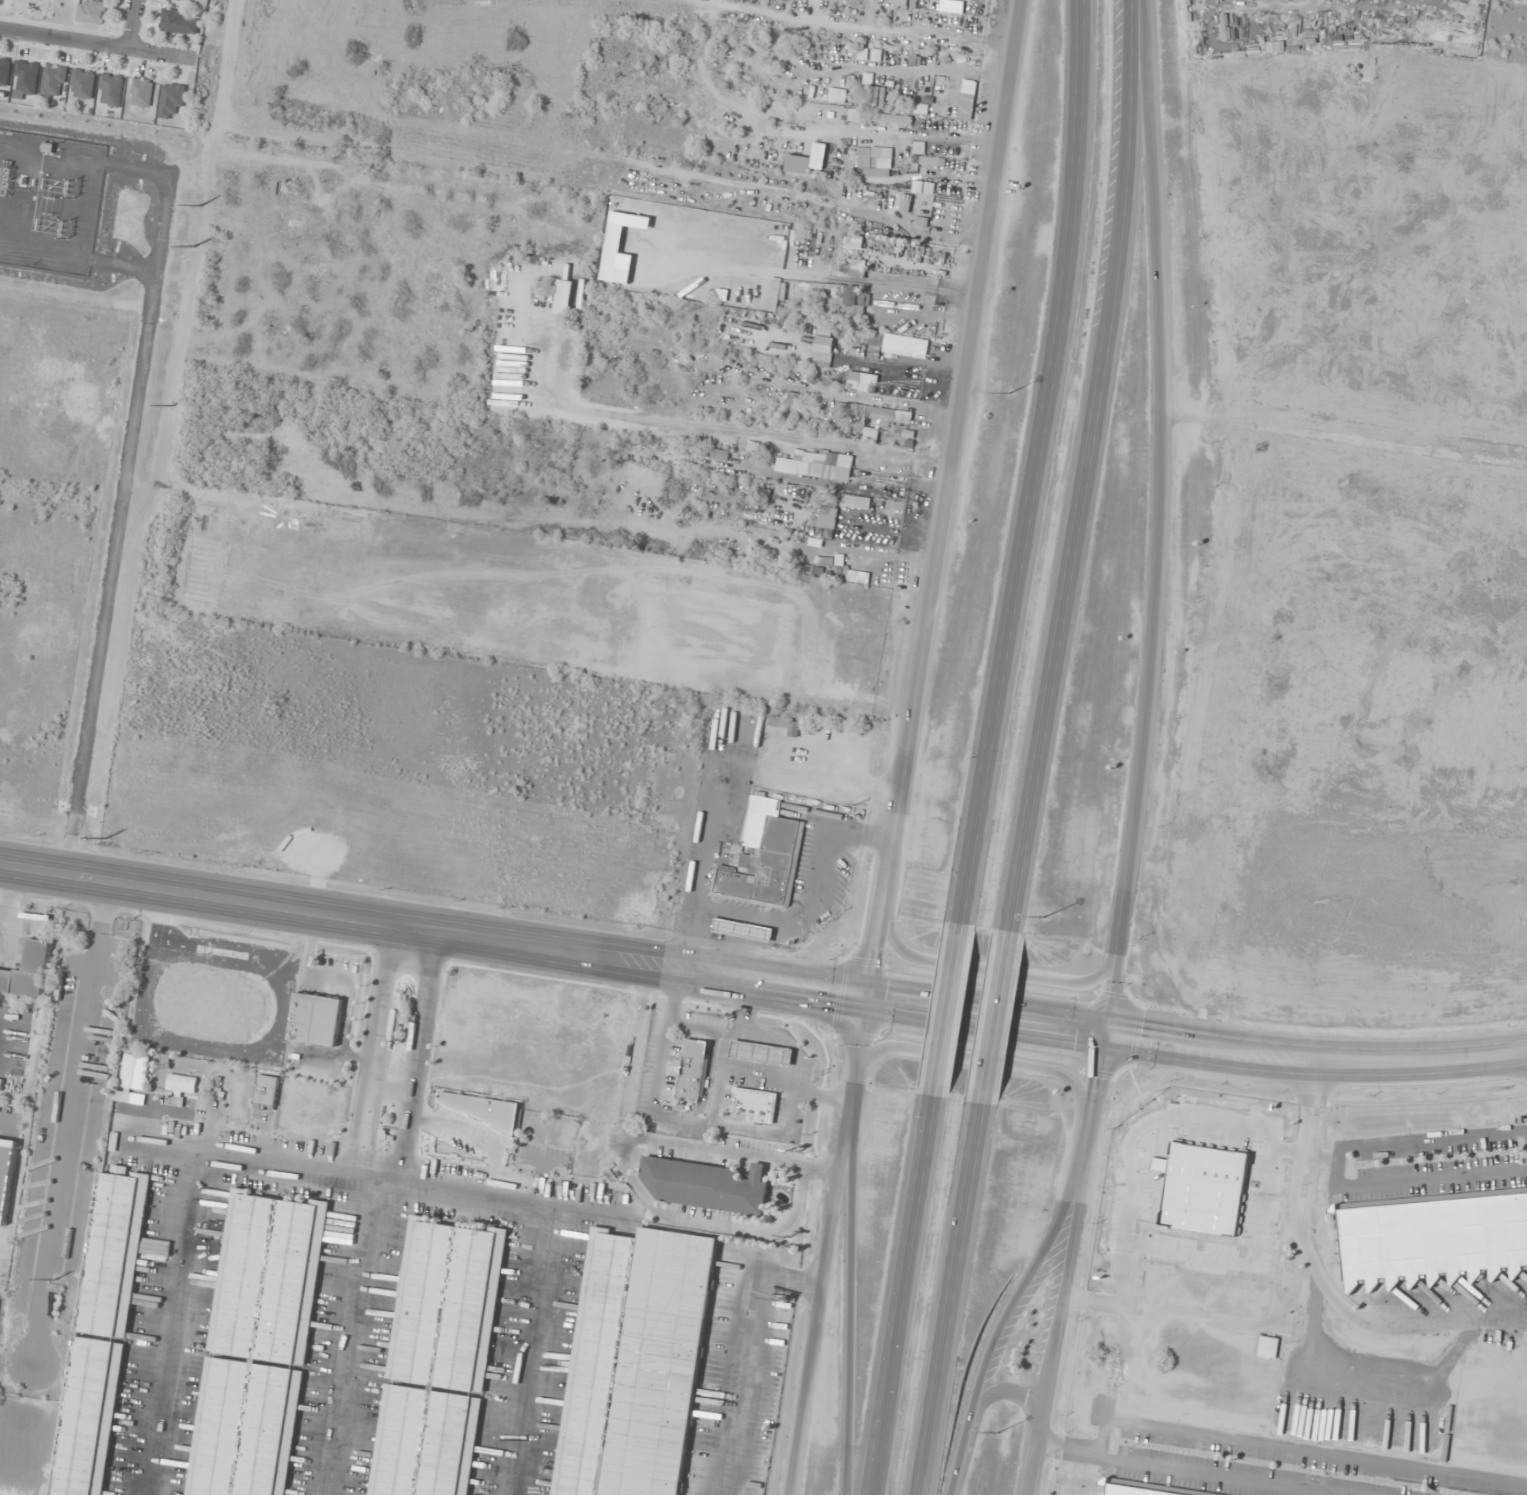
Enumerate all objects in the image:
building: (189, 0)
building: (944, 6)
building: (92, 11)
building: (180, 22)
road: (133, 25)
road: (98, 45)
building: (5, 70)
building: (27, 79)
building: (55, 80)
building: (83, 83)
building: (111, 89)
building: (142, 91)
building: (877, 96)
building: (173, 99)
building: (921, 108)
building: (932, 160)
building: (798, 163)
building: (876, 165)
building: (290, 187)
building: (854, 289)
building: (822, 359)
building: (795, 398)
building: (873, 411)
building: (720, 454)
road: (1033, 459)
building: (826, 465)
road: (1092, 465)
building: (828, 512)
building: (694, 572)
building: (750, 581)
building: (832, 649)
building: (753, 655)
building: (711, 666)
road: (912, 745)
road: (1141, 761)
building: (762, 858)
road: (267, 911)
building: (743, 929)
building: (124, 958)
building: (28, 971)
road: (1000, 971)
traffic signals: (873, 999)
road: (954, 1004)
road: (1007, 1016)
road: (1030, 1018)
building: (315, 1019)
traffic signals: (1111, 1029)
building: (761, 1052)
road: (369, 1053)
road: (412, 1059)
road: (992, 1061)
building: (693, 1070)
building: (133, 1075)
building: (1, 1084)
road: (386, 1086)
building: (266, 1092)
building: (754, 1104)
building: (539, 1125)
road: (1415, 1136)
building: (6, 1174)
road: (1419, 1177)
road: (369, 1179)
building: (707, 1185)
road: (1299, 1188)
building: (1434, 1238)
road: (905, 1293)
road: (963, 1299)
road: (818, 1307)
road: (1053, 1323)
road: (167, 1324)
road: (1384, 1326)
building: (103, 1328)
road: (348, 1337)
building: (257, 1347)
road: (536, 1351)
building: (438, 1361)
building: (635, 1363)
road: (1014, 1394)
road: (1296, 1447)
road: (1188, 1470)
building: (1143, 1489)

